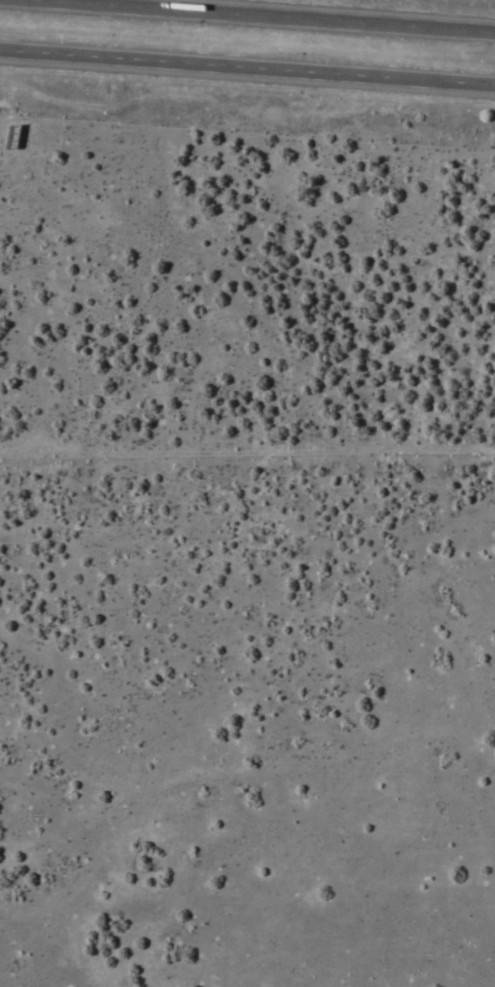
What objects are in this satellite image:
road: (247, 20)
road: (247, 68)

